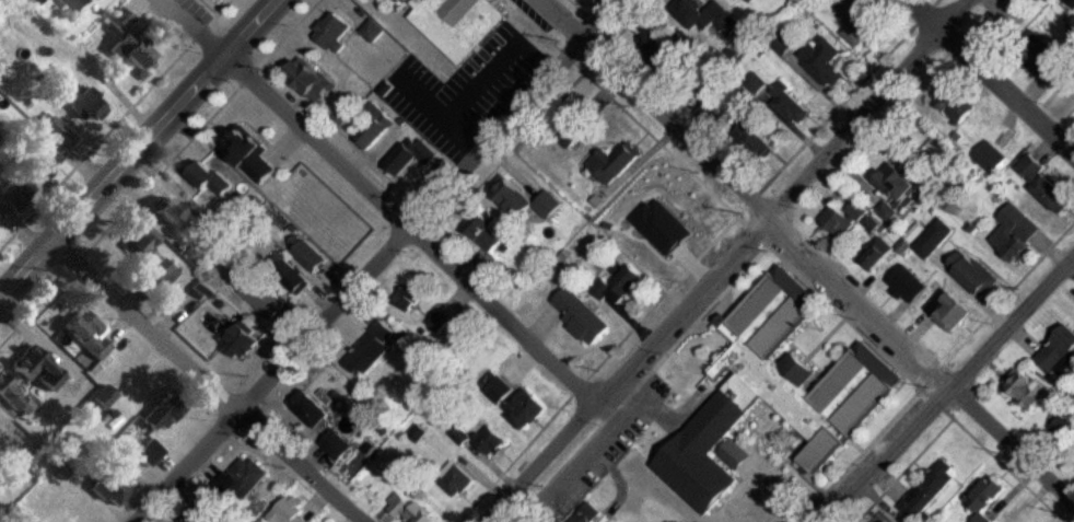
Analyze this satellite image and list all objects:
building: (739, 0)
building: (1055, 0)
building: (38, 1)
building: (73, 4)
building: (709, 18)
building: (121, 20)
building: (859, 23)
building: (460, 24)
road: (190, 27)
building: (375, 32)
building: (336, 33)
building: (672, 49)
building: (135, 51)
building: (825, 61)
building: (1060, 62)
road: (990, 78)
building: (313, 79)
building: (791, 104)
building: (90, 105)
building: (958, 105)
building: (376, 127)
building: (60, 134)
building: (751, 134)
road: (316, 142)
road: (137, 149)
building: (255, 156)
building: (412, 158)
building: (992, 159)
building: (43, 161)
building: (615, 164)
building: (217, 181)
building: (902, 184)
building: (1044, 184)
building: (17, 193)
building: (529, 202)
building: (890, 213)
building: (184, 220)
building: (839, 222)
building: (1016, 233)
building: (488, 239)
building: (934, 240)
road: (807, 252)
building: (879, 254)
building: (152, 255)
building: (205, 257)
building: (314, 258)
road: (381, 259)
road: (728, 260)
building: (292, 275)
building: (974, 275)
building: (906, 283)
building: (618, 286)
building: (205, 290)
building: (269, 299)
building: (949, 312)
building: (582, 316)
road: (502, 317)
building: (437, 324)
building: (90, 334)
building: (247, 341)
building: (374, 349)
building: (1059, 352)
building: (39, 369)
building: (803, 374)
road: (206, 382)
building: (1027, 387)
road: (952, 390)
building: (16, 397)
building: (106, 397)
building: (522, 408)
building: (313, 410)
building: (163, 414)
building: (460, 438)
building: (490, 442)
building: (337, 445)
building: (149, 452)
building: (651, 453)
building: (243, 480)
building: (457, 484)
building: (109, 491)
building: (929, 491)
building: (988, 497)
building: (407, 509)
building: (288, 511)
building: (209, 512)
building: (885, 521)

